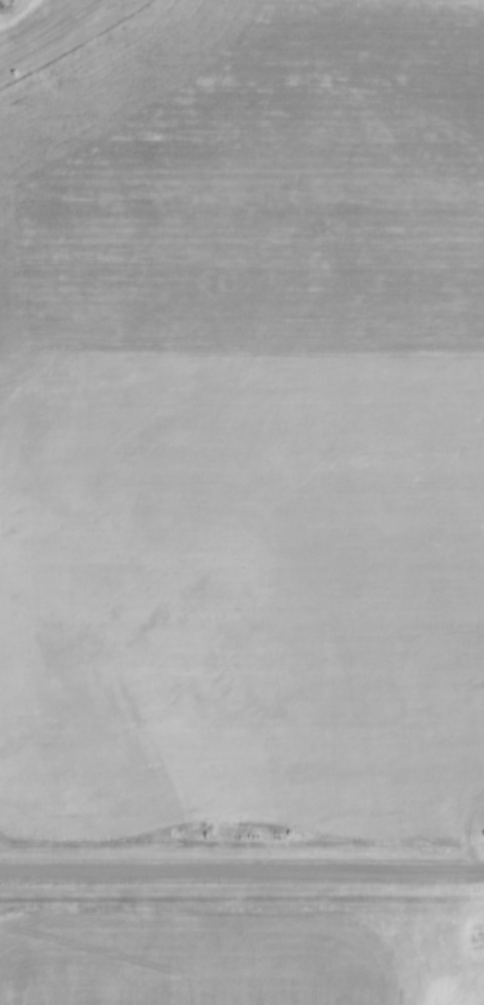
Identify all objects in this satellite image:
road: (242, 872)

